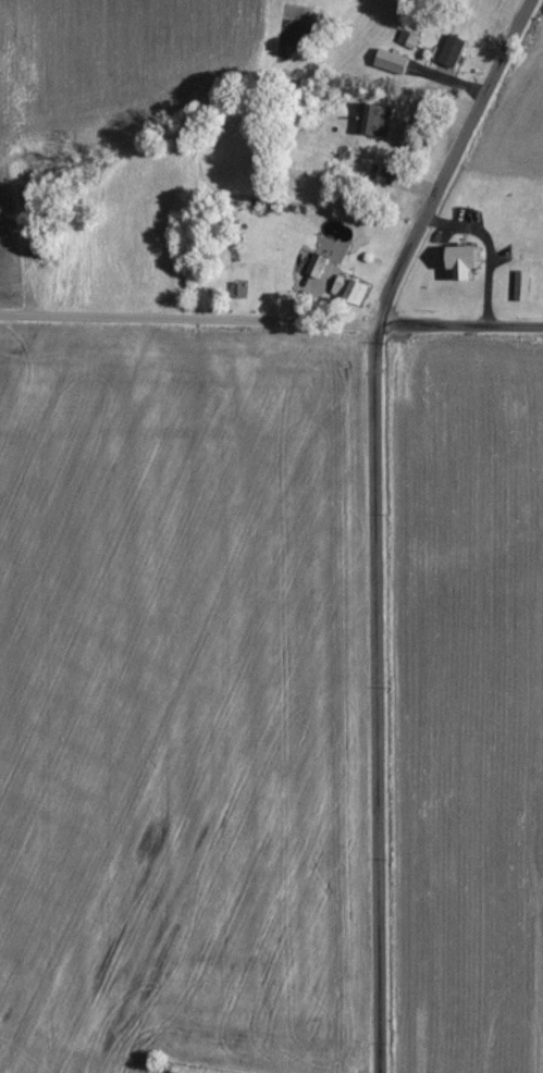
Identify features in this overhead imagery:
building: (410, 39)
building: (454, 51)
building: (395, 62)
building: (378, 119)
road: (23, 258)
building: (473, 261)
building: (313, 264)
building: (522, 286)
building: (350, 288)
road: (13, 316)
road: (300, 325)
road: (367, 517)

